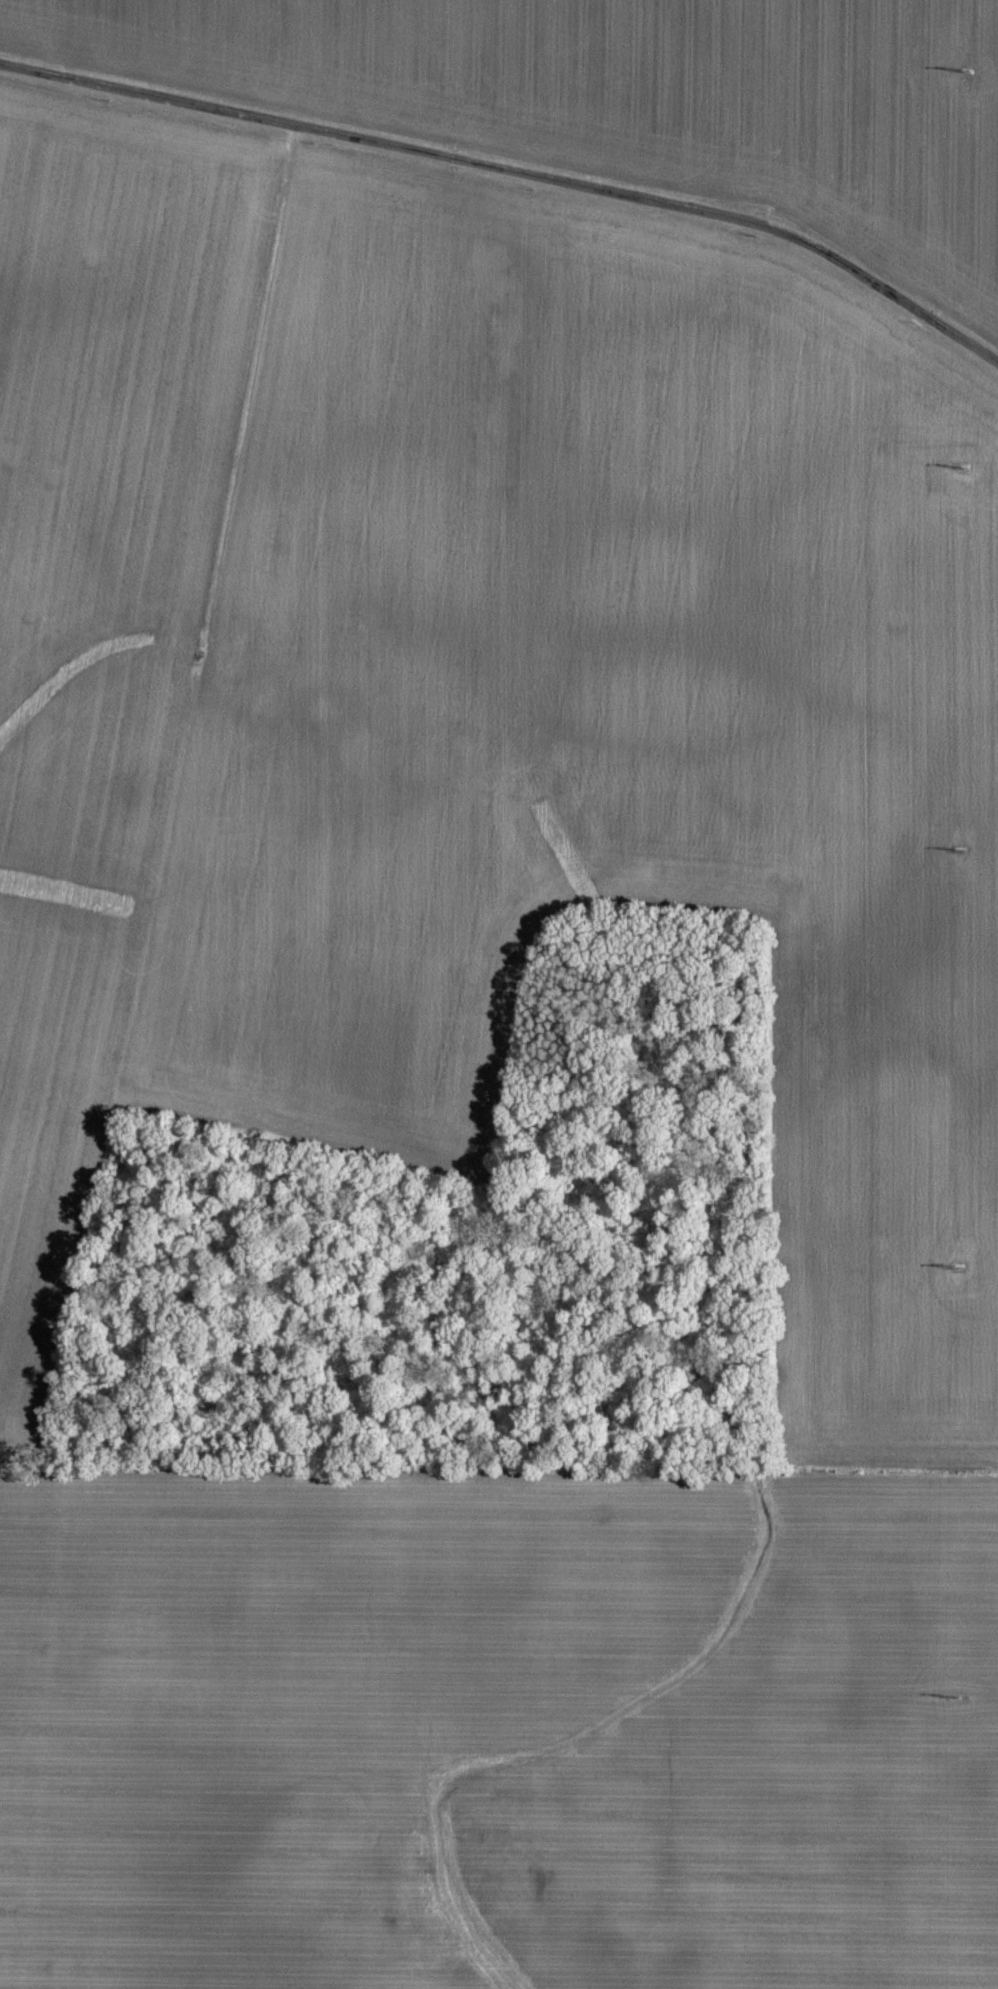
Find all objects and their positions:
power tower: (974, 73)
road: (514, 170)
power tower: (968, 467)

